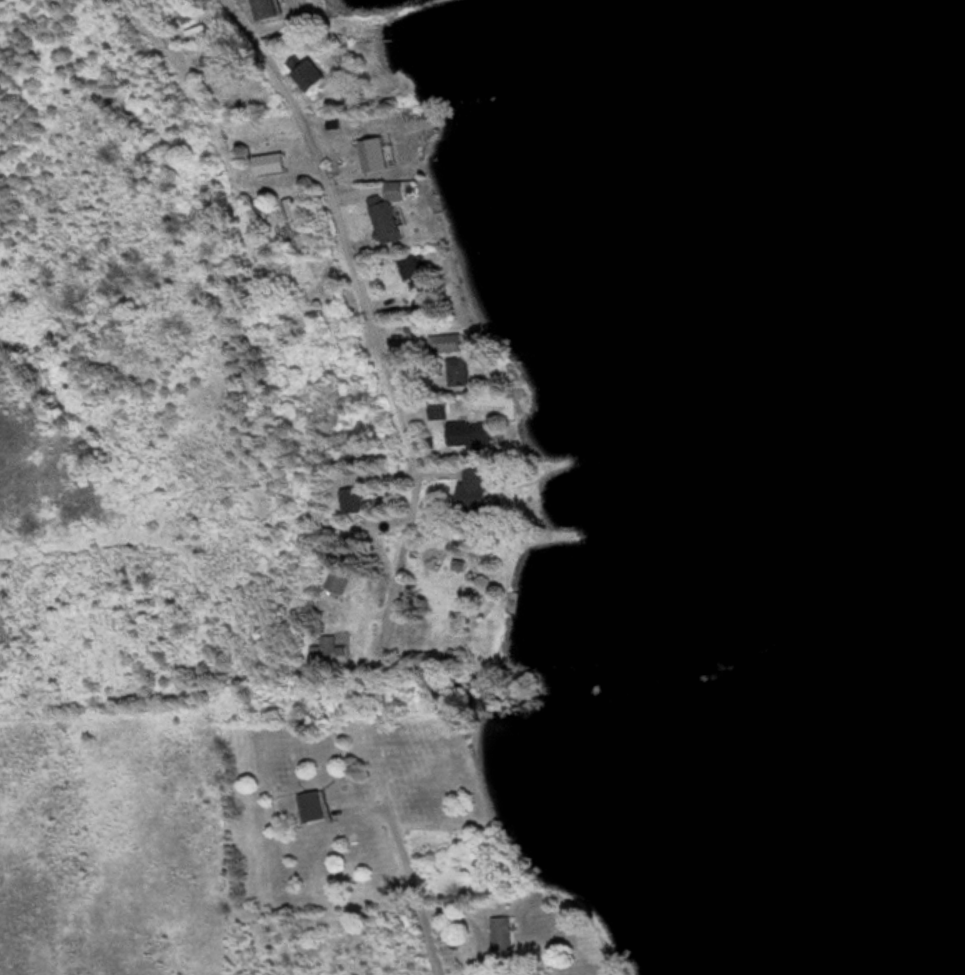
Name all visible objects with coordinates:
building: (282, 9)
building: (321, 75)
road: (232, 180)
building: (397, 220)
building: (304, 221)
building: (420, 269)
road: (368, 312)
building: (455, 343)
building: (464, 371)
building: (470, 435)
building: (484, 488)
building: (358, 499)
building: (347, 580)
building: (323, 805)
road: (412, 882)
building: (510, 933)
building: (534, 973)

